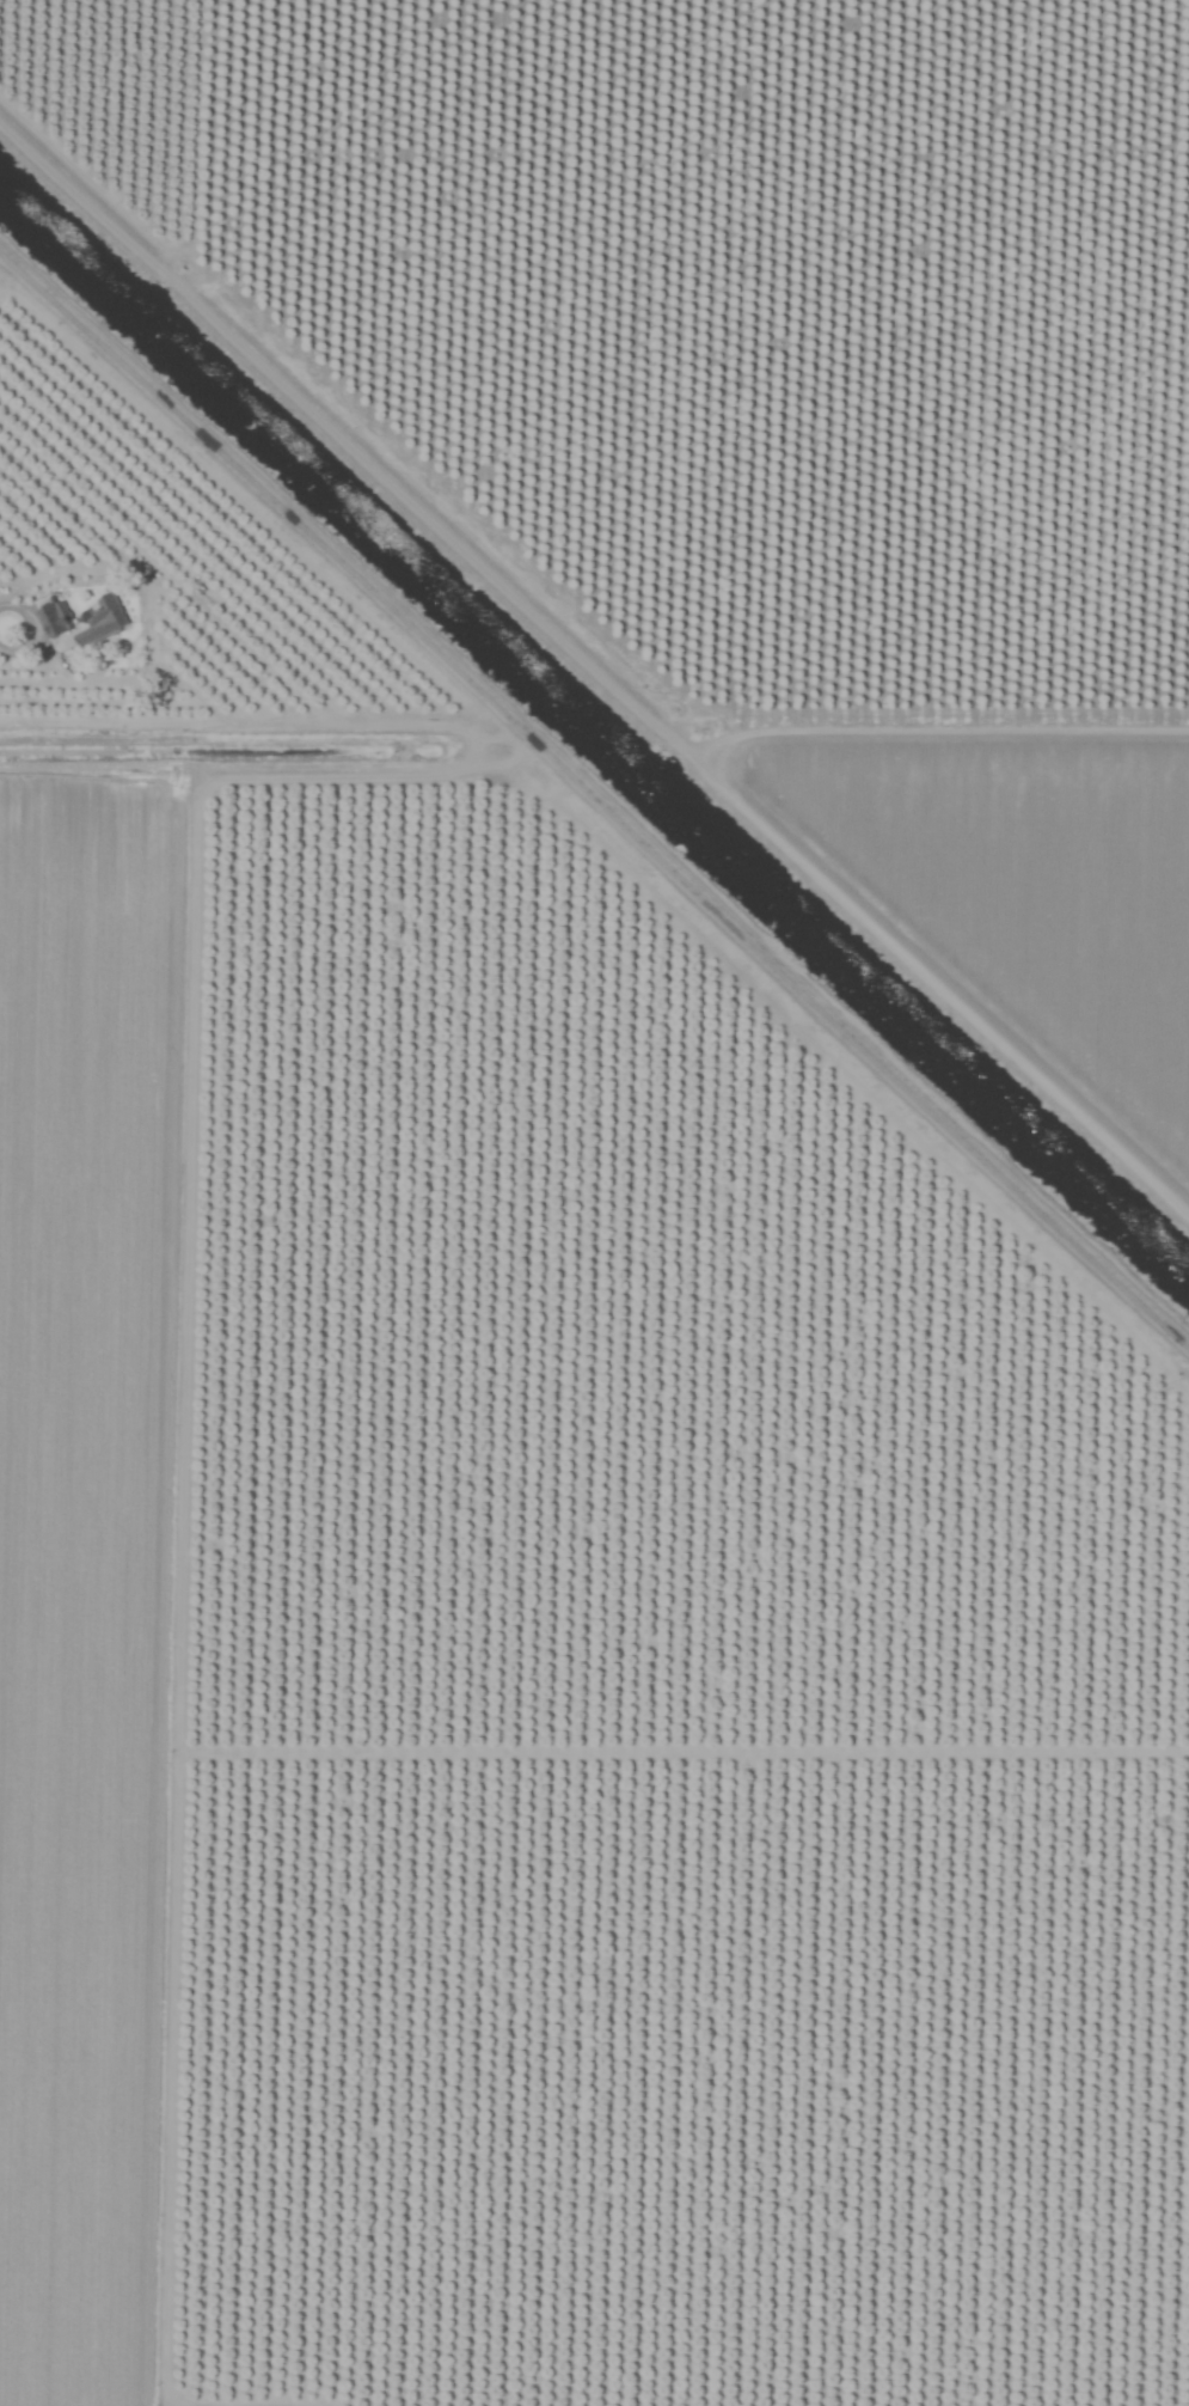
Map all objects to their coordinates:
building: (55, 618)
building: (103, 622)
road: (596, 792)
crop: (594, 1203)

